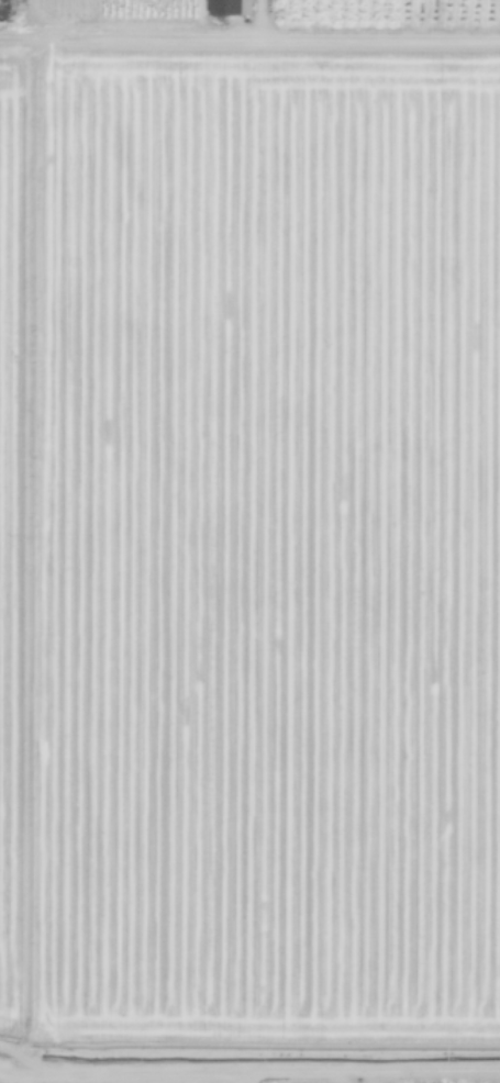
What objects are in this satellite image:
building: (229, 7)
road: (249, 36)
building: (54, 783)
building: (54, 828)
building: (53, 872)
building: (53, 924)

